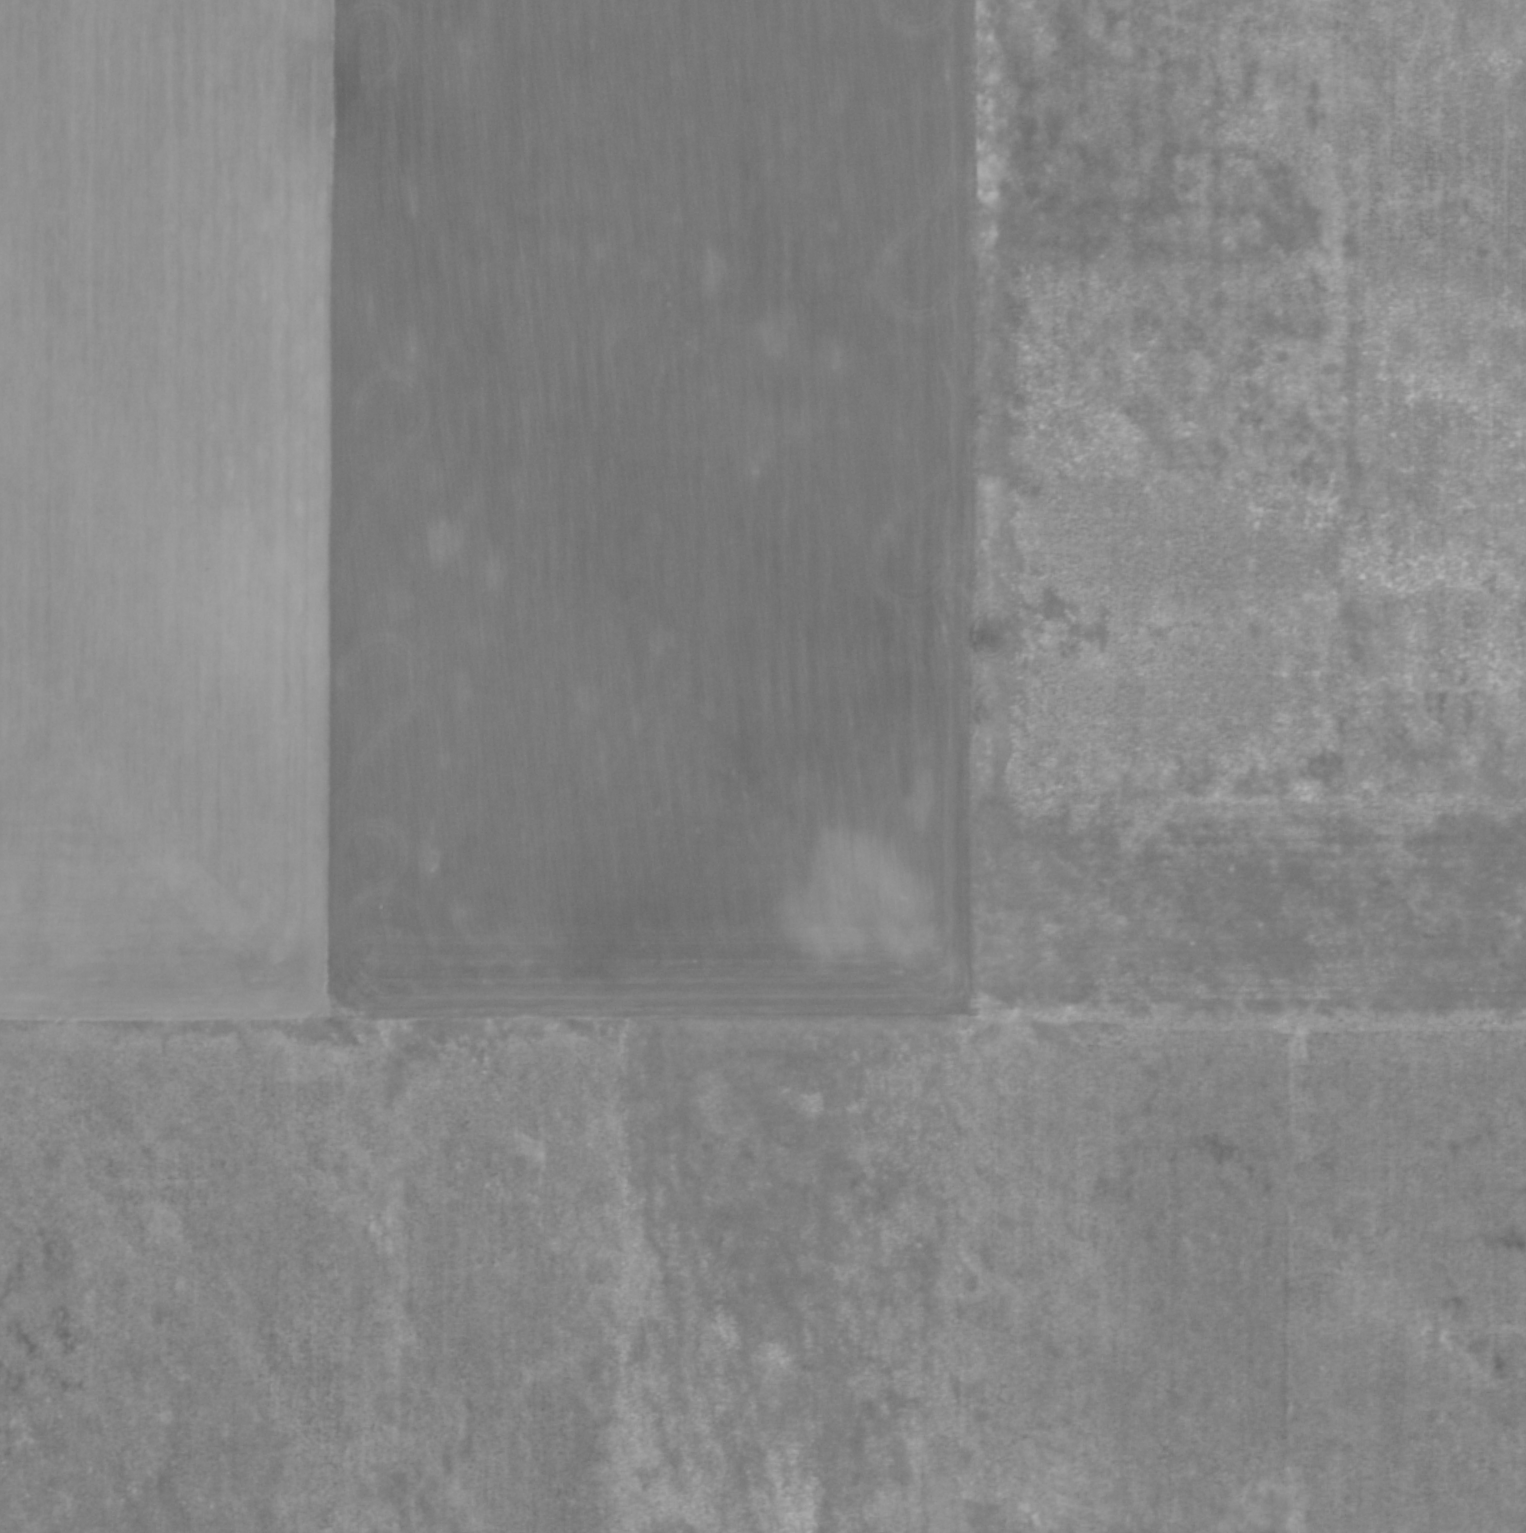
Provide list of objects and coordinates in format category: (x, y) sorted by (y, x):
crop: (763, 766)

